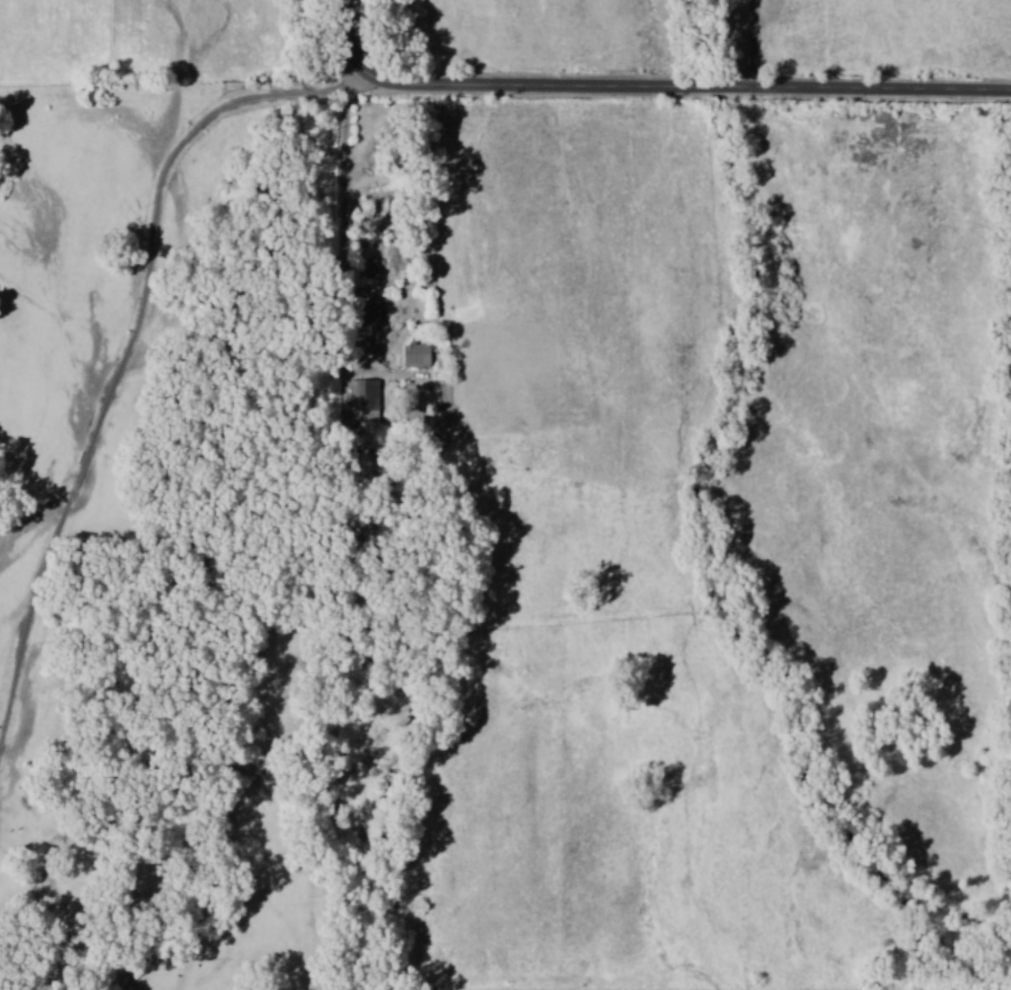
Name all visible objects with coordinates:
road: (649, 87)
road: (131, 352)
building: (417, 355)
building: (364, 399)

